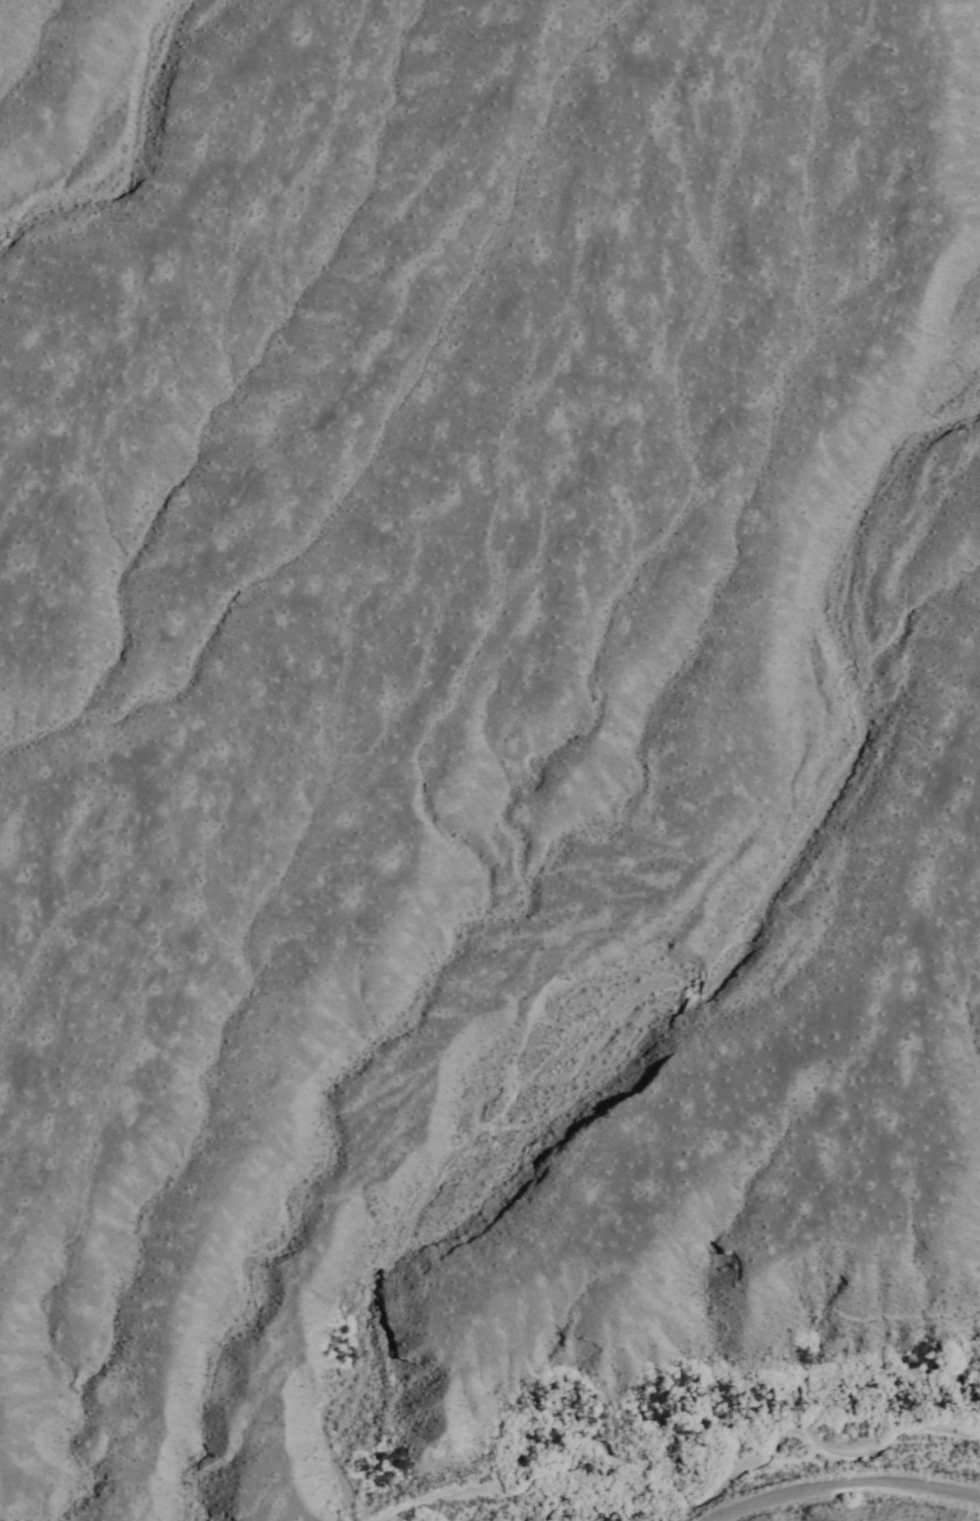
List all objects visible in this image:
road: (845, 1484)

